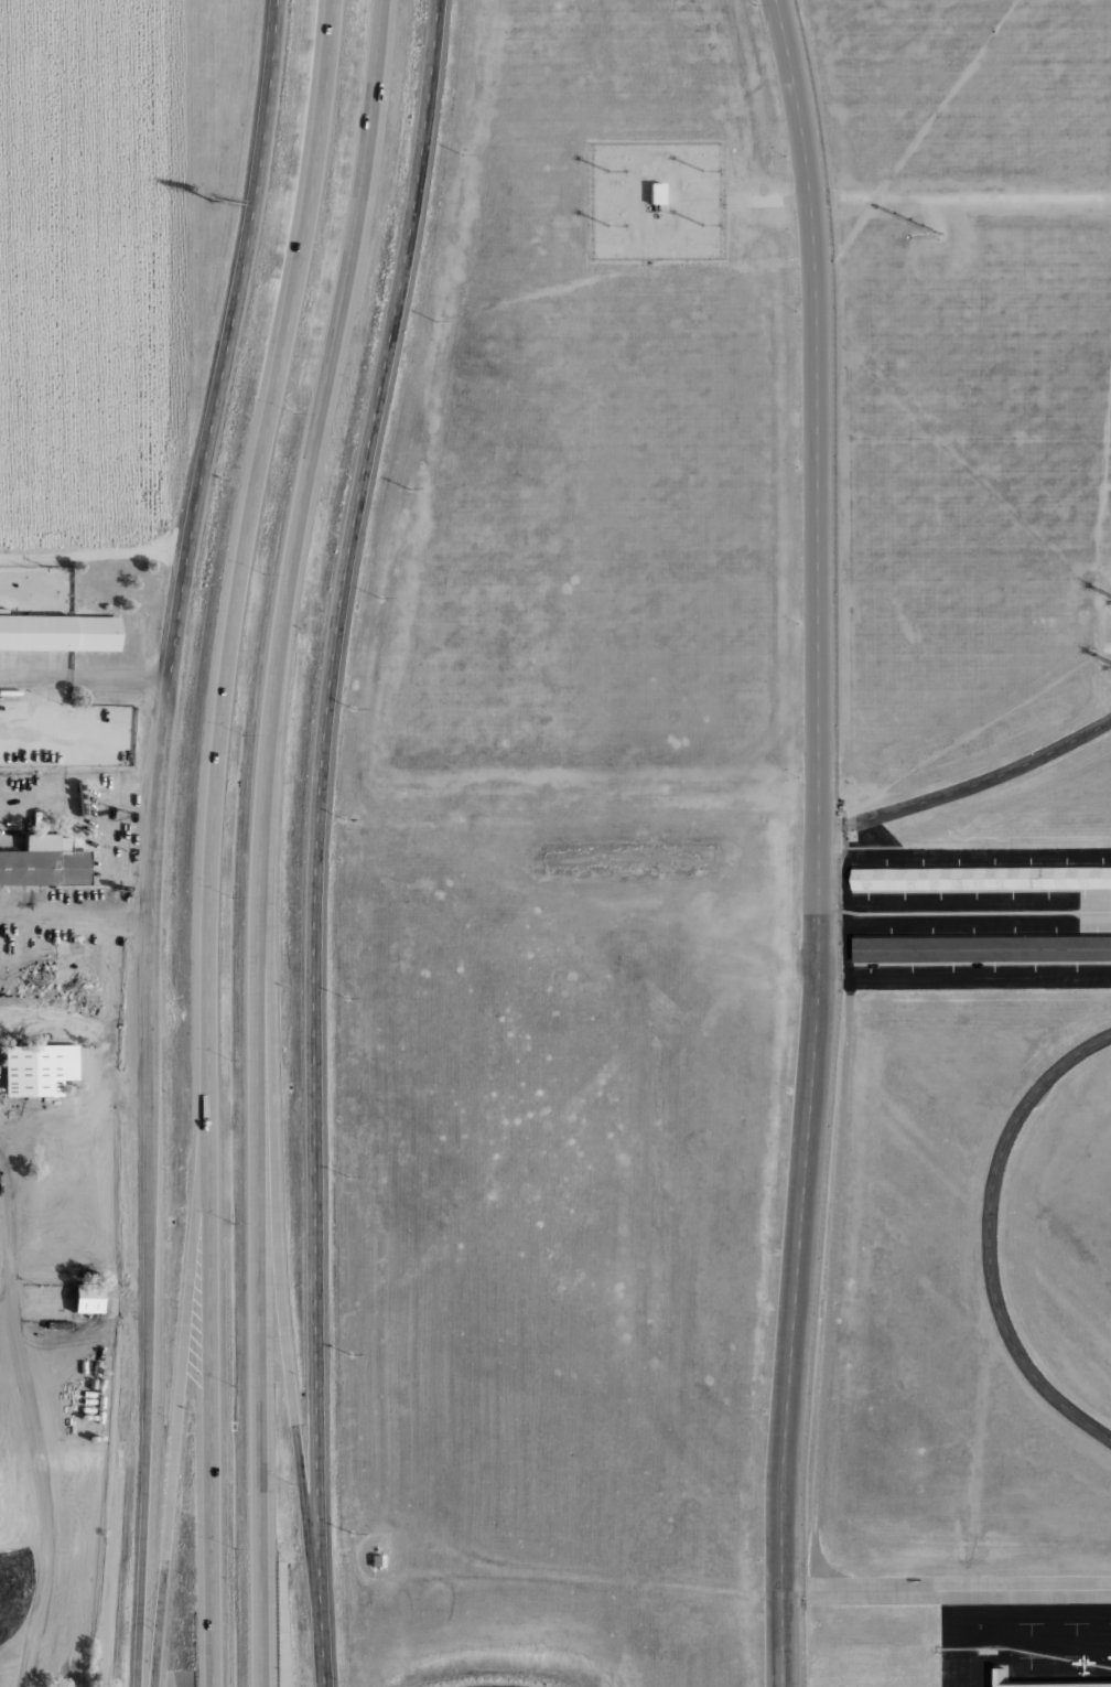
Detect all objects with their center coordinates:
building: (656, 192)
road: (818, 197)
road: (765, 198)
road: (969, 200)
road: (177, 276)
road: (93, 555)
building: (60, 632)
road: (85, 679)
road: (981, 783)
road: (830, 825)
road: (157, 838)
road: (213, 838)
road: (263, 838)
road: (319, 838)
road: (817, 842)
airport: (968, 849)
building: (42, 861)
building: (982, 879)
road: (828, 912)
airport apron: (975, 918)
building: (983, 948)
building: (72, 963)
road: (829, 984)
building: (39, 1066)
road: (74, 1113)
road: (992, 1242)
building: (83, 1297)
building: (89, 1315)
building: (55, 1324)
road: (289, 1362)
road: (182, 1373)
building: (376, 1560)
road: (589, 1573)
airport taxiway: (959, 1588)
road: (791, 1598)
building: (1001, 1676)

